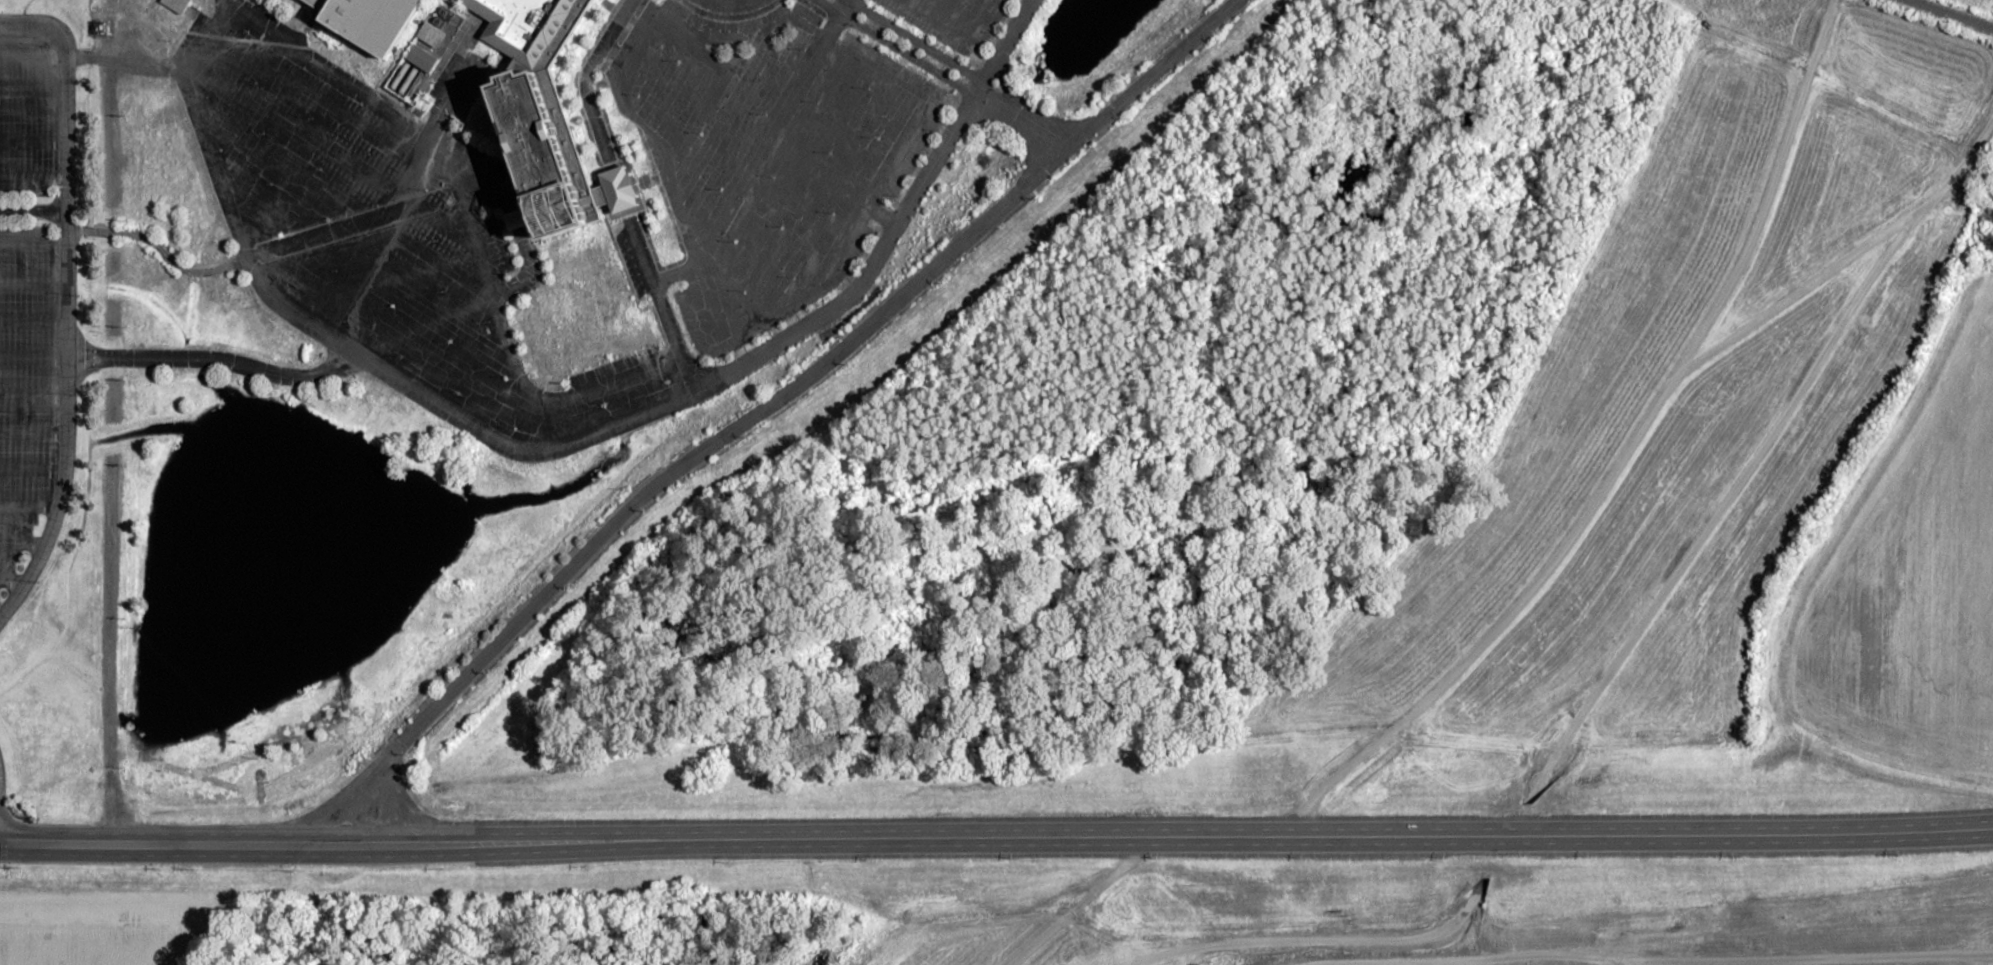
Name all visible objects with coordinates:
building: (182, 5)
road: (1947, 15)
building: (381, 22)
building: (435, 33)
building: (432, 61)
road: (945, 76)
road: (588, 79)
building: (555, 118)
road: (620, 191)
road: (33, 210)
road: (66, 299)
road: (662, 303)
road: (234, 359)
road: (726, 373)
road: (774, 400)
road: (113, 421)
road: (1623, 460)
road: (1626, 650)
road: (996, 838)
road: (1081, 903)
road: (1736, 964)

